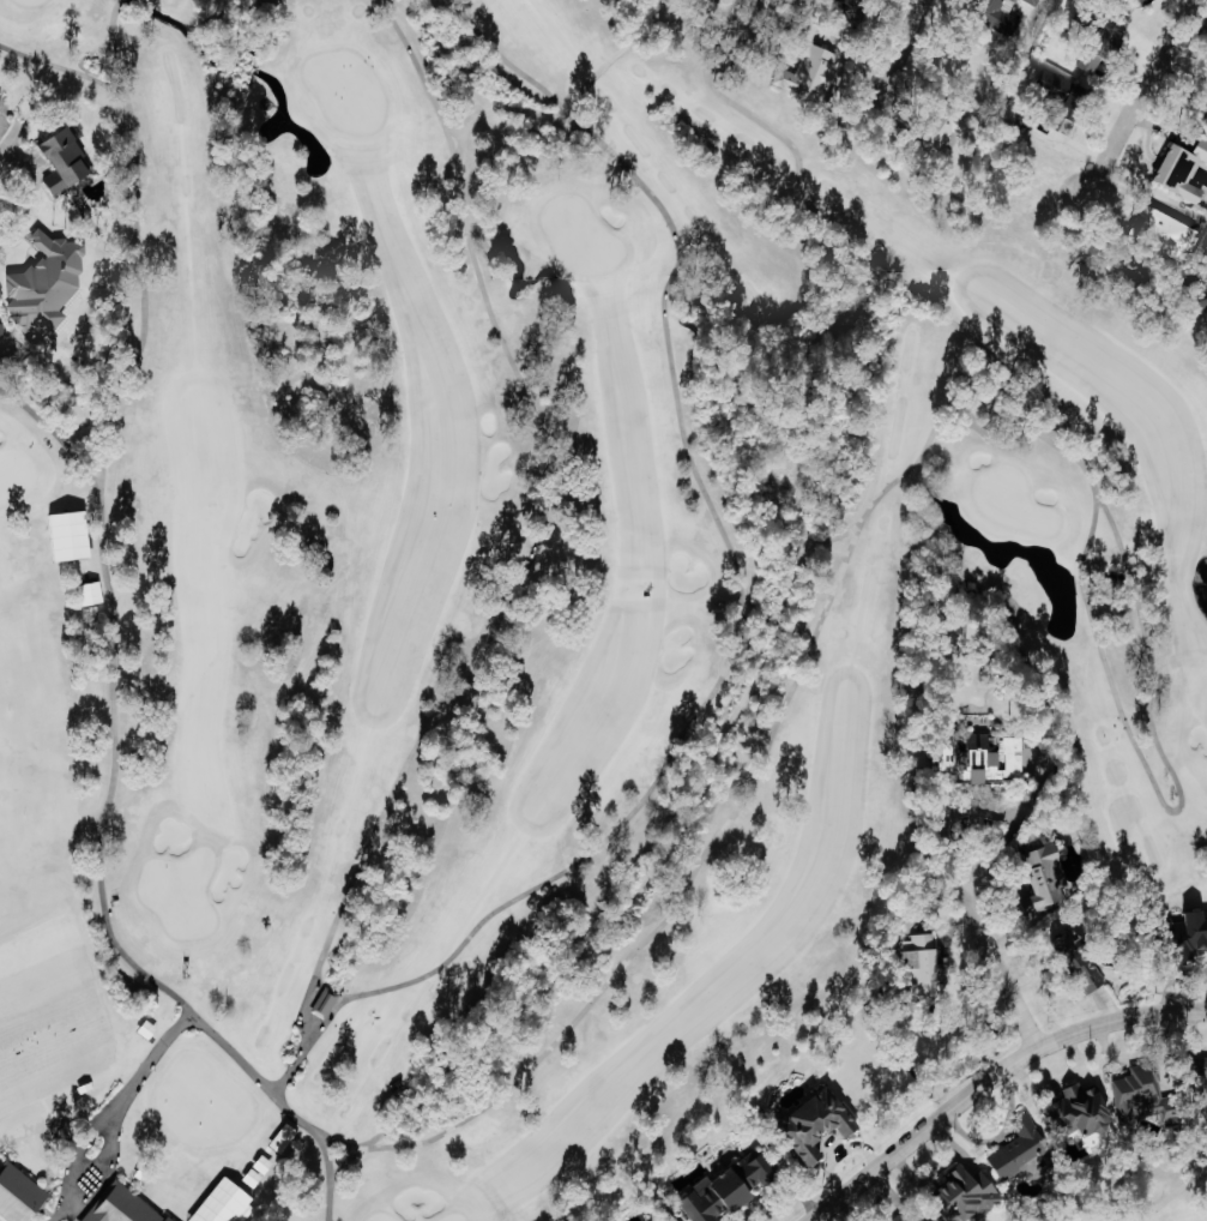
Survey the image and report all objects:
park: (25, 1)
building: (1142, 1)
building: (1031, 2)
building: (850, 11)
road: (668, 19)
building: (1004, 20)
road: (907, 53)
building: (1096, 59)
road: (65, 67)
building: (805, 72)
road: (587, 83)
park: (345, 91)
building: (1066, 91)
building: (1, 97)
road: (494, 108)
road: (560, 110)
road: (1139, 110)
road: (551, 113)
building: (1205, 113)
road: (454, 130)
road: (459, 133)
road: (460, 143)
building: (62, 160)
building: (1184, 172)
road: (811, 207)
road: (816, 207)
building: (1172, 233)
park: (579, 237)
building: (1206, 249)
building: (47, 284)
building: (1206, 301)
building: (2, 335)
road: (107, 408)
road: (82, 425)
road: (59, 432)
road: (56, 434)
road: (1078, 455)
park: (1010, 501)
road: (1099, 503)
road: (845, 531)
road: (541, 537)
road: (814, 541)
road: (1085, 551)
road: (738, 573)
park: (524, 602)
road: (117, 650)
road: (725, 727)
building: (980, 757)
building: (1039, 874)
park: (179, 892)
building: (1181, 936)
road: (998, 949)
building: (918, 964)
road: (318, 979)
road: (312, 994)
road: (344, 994)
building: (322, 1002)
road: (192, 1019)
road: (312, 1019)
road: (310, 1029)
road: (159, 1047)
road: (289, 1070)
road: (994, 1079)
building: (1205, 1082)
road: (271, 1083)
road: (280, 1093)
building: (1142, 1097)
building: (1080, 1113)
building: (813, 1124)
road: (328, 1141)
road: (368, 1142)
building: (1018, 1149)
road: (344, 1162)
road: (68, 1177)
building: (725, 1187)
park: (1129, 1193)
building: (18, 1195)
building: (966, 1196)
building: (120, 1205)
park: (379, 1217)
building: (918, 1217)
park: (452, 1219)
building: (654, 1220)

